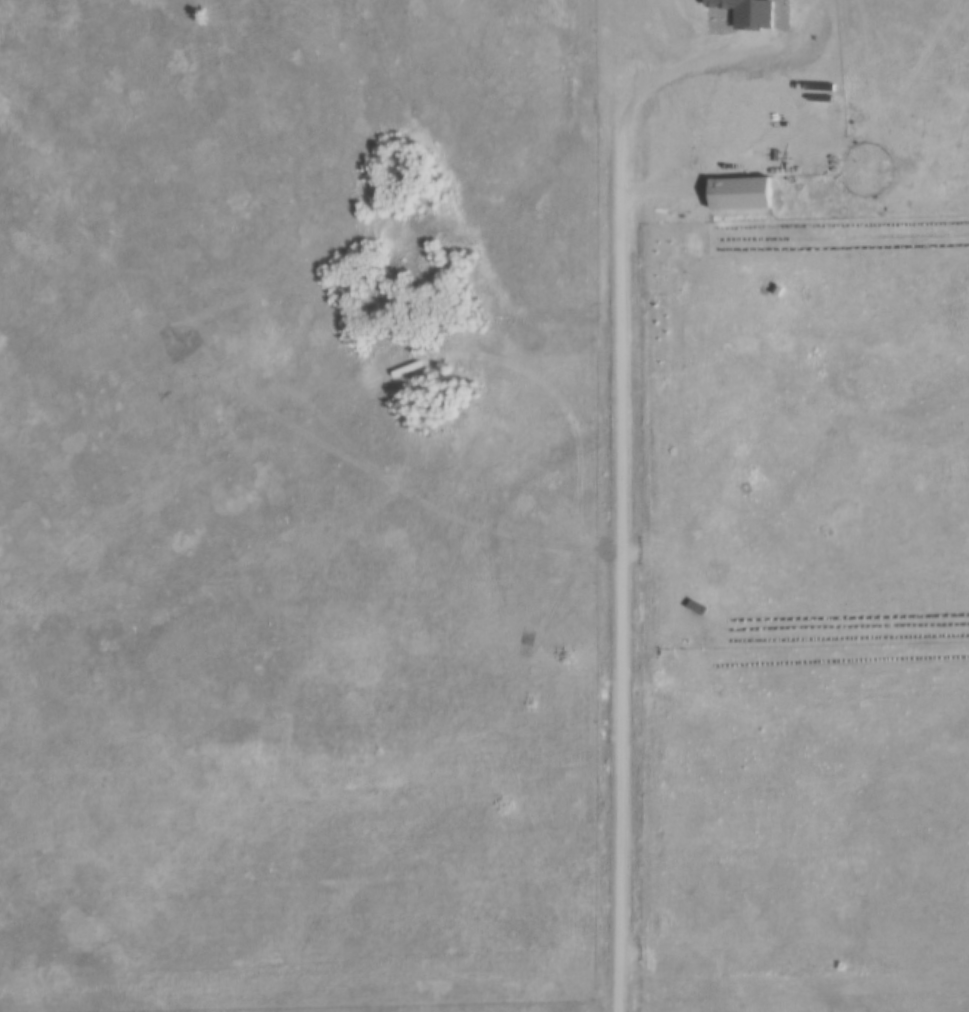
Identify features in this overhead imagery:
building: (749, 12)
building: (738, 189)
road: (655, 191)
road: (619, 484)

